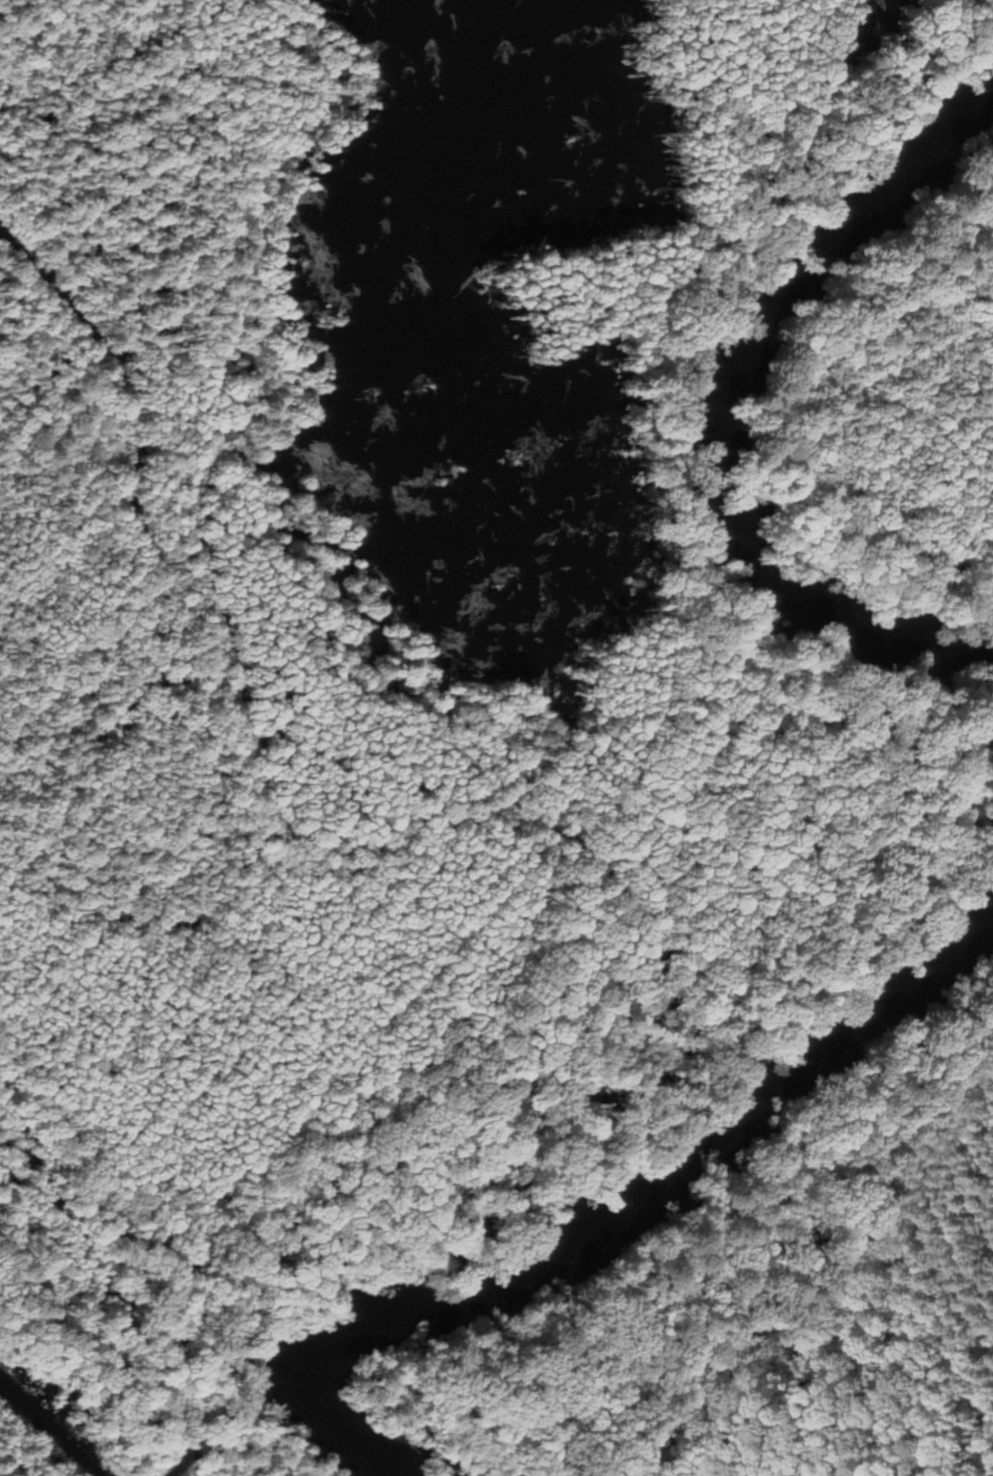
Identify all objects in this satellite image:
road: (114, 397)
river: (717, 408)
river: (620, 1207)

